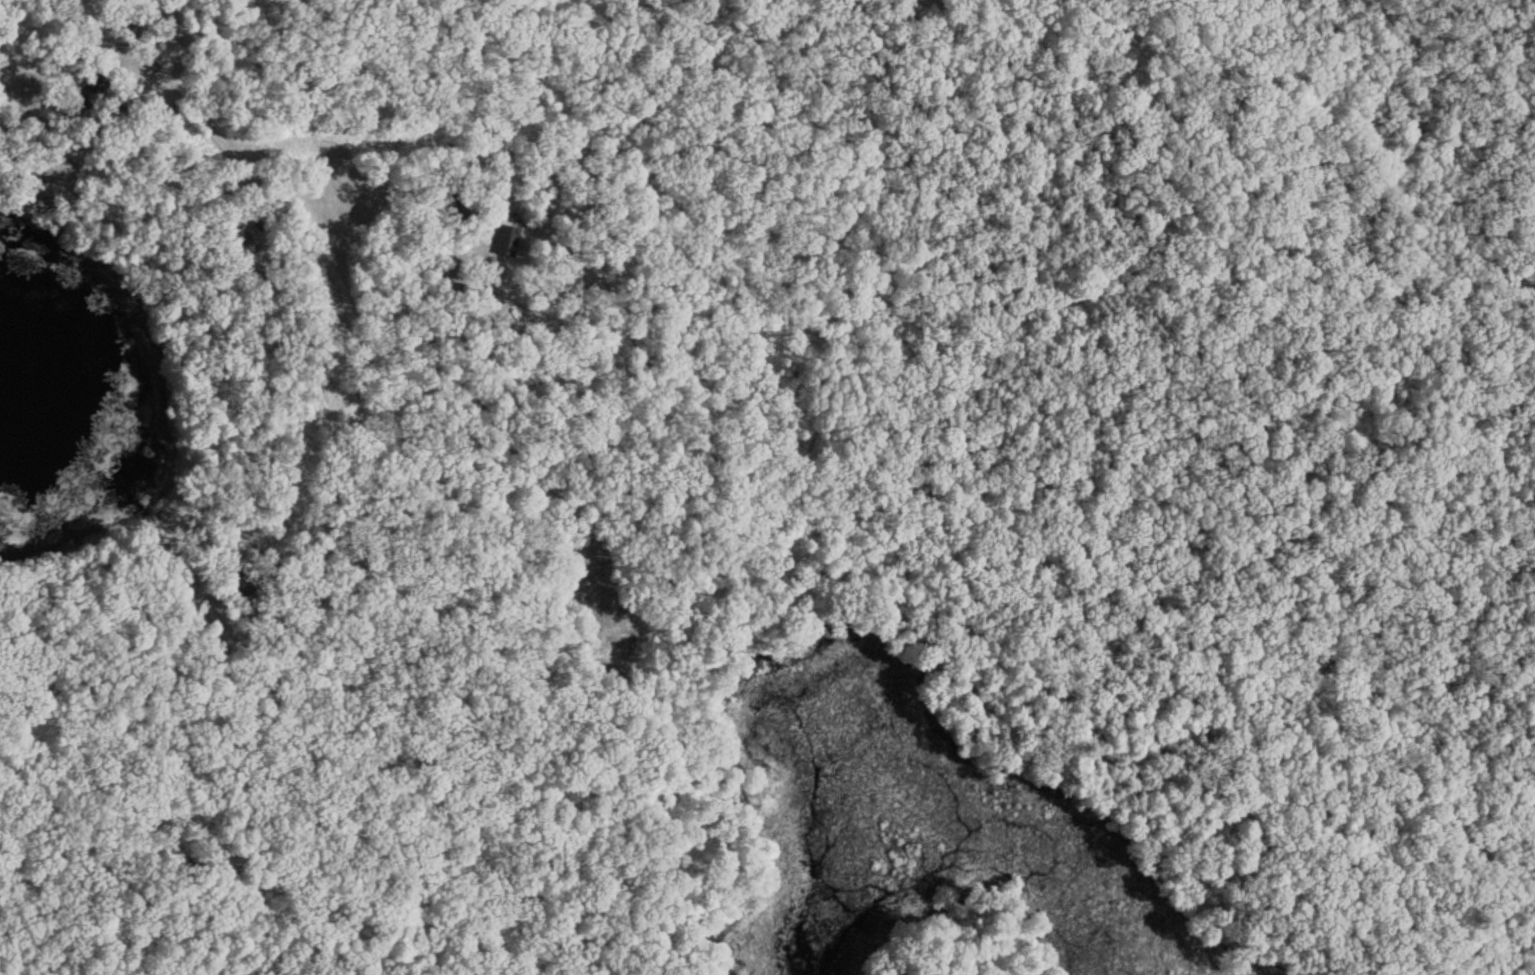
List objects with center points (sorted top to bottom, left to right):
building: (165, 52)
building: (244, 238)
building: (506, 241)

